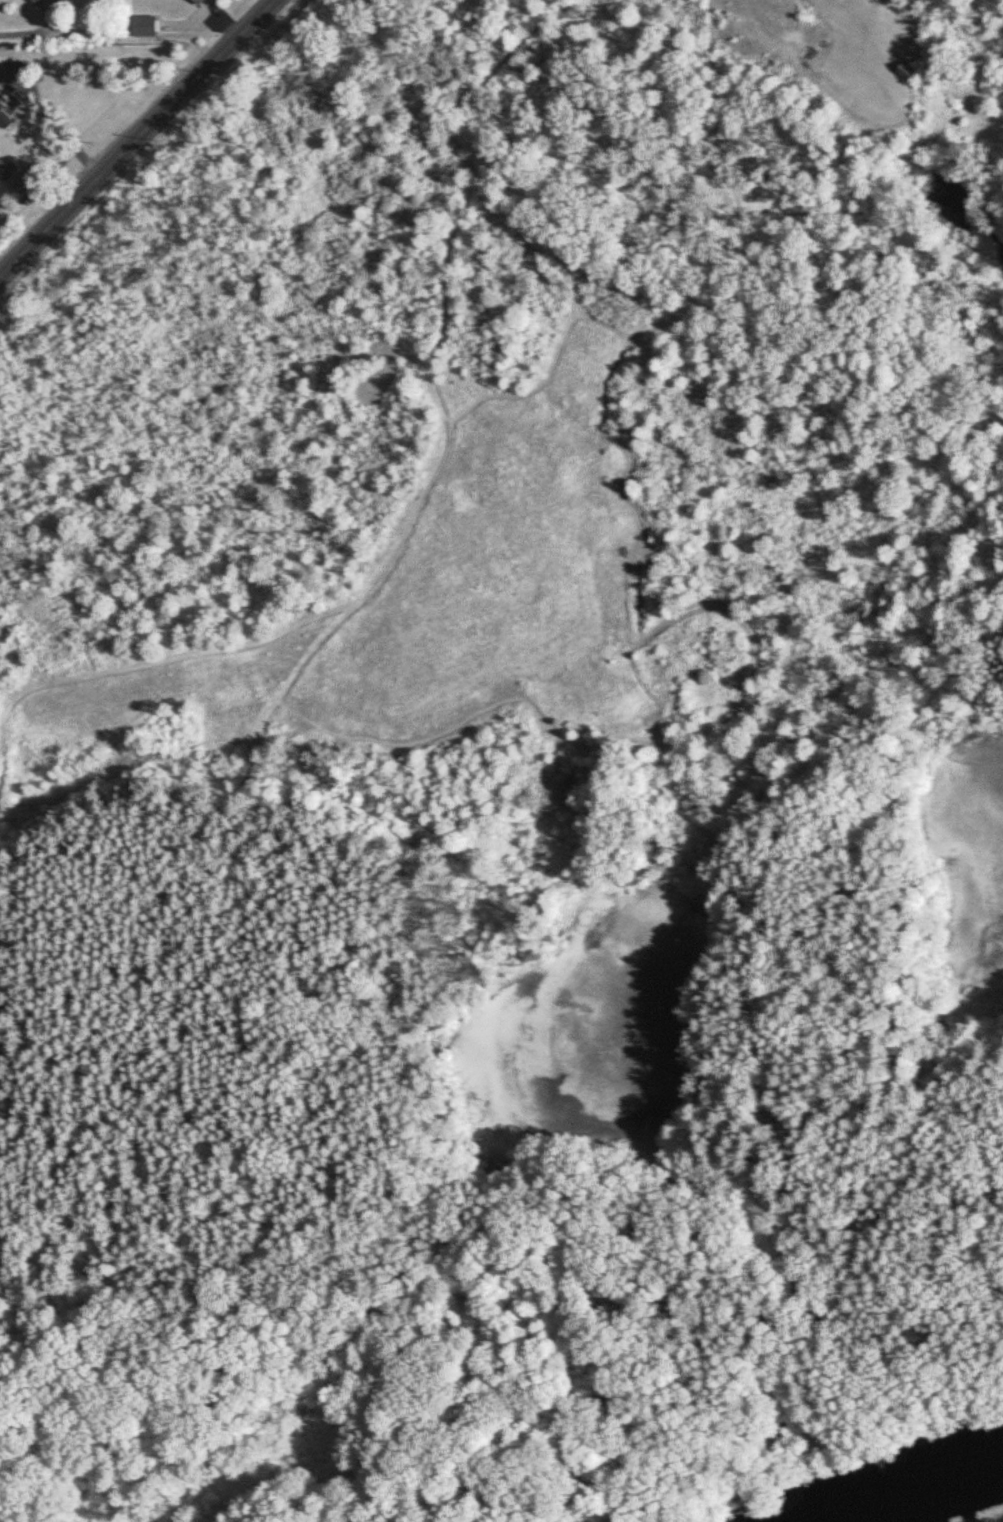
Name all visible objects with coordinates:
building: (58, 0)
building: (39, 1)
building: (198, 1)
building: (144, 25)
road: (26, 33)
building: (908, 69)
road: (722, 109)
building: (7, 110)
road: (52, 123)
road: (135, 138)
building: (10, 169)
building: (25, 181)
road: (738, 213)
road: (538, 248)
road: (632, 263)
road: (444, 291)
road: (660, 321)
road: (831, 375)
road: (703, 608)
road: (981, 660)
road: (945, 664)
road: (300, 667)
road: (134, 669)
road: (647, 691)
road: (253, 754)
park: (513, 781)
road: (243, 784)
road: (233, 812)
road: (106, 884)
road: (2, 901)
road: (916, 930)
road: (387, 1009)
road: (0, 1071)
road: (718, 1093)
road: (958, 1119)
road: (165, 1129)
road: (441, 1181)
road: (769, 1211)
road: (215, 1236)
road: (815, 1369)
road: (755, 1436)
road: (774, 1437)
road: (799, 1438)
road: (746, 1463)
road: (679, 1496)
river: (937, 1499)
road: (583, 1521)

